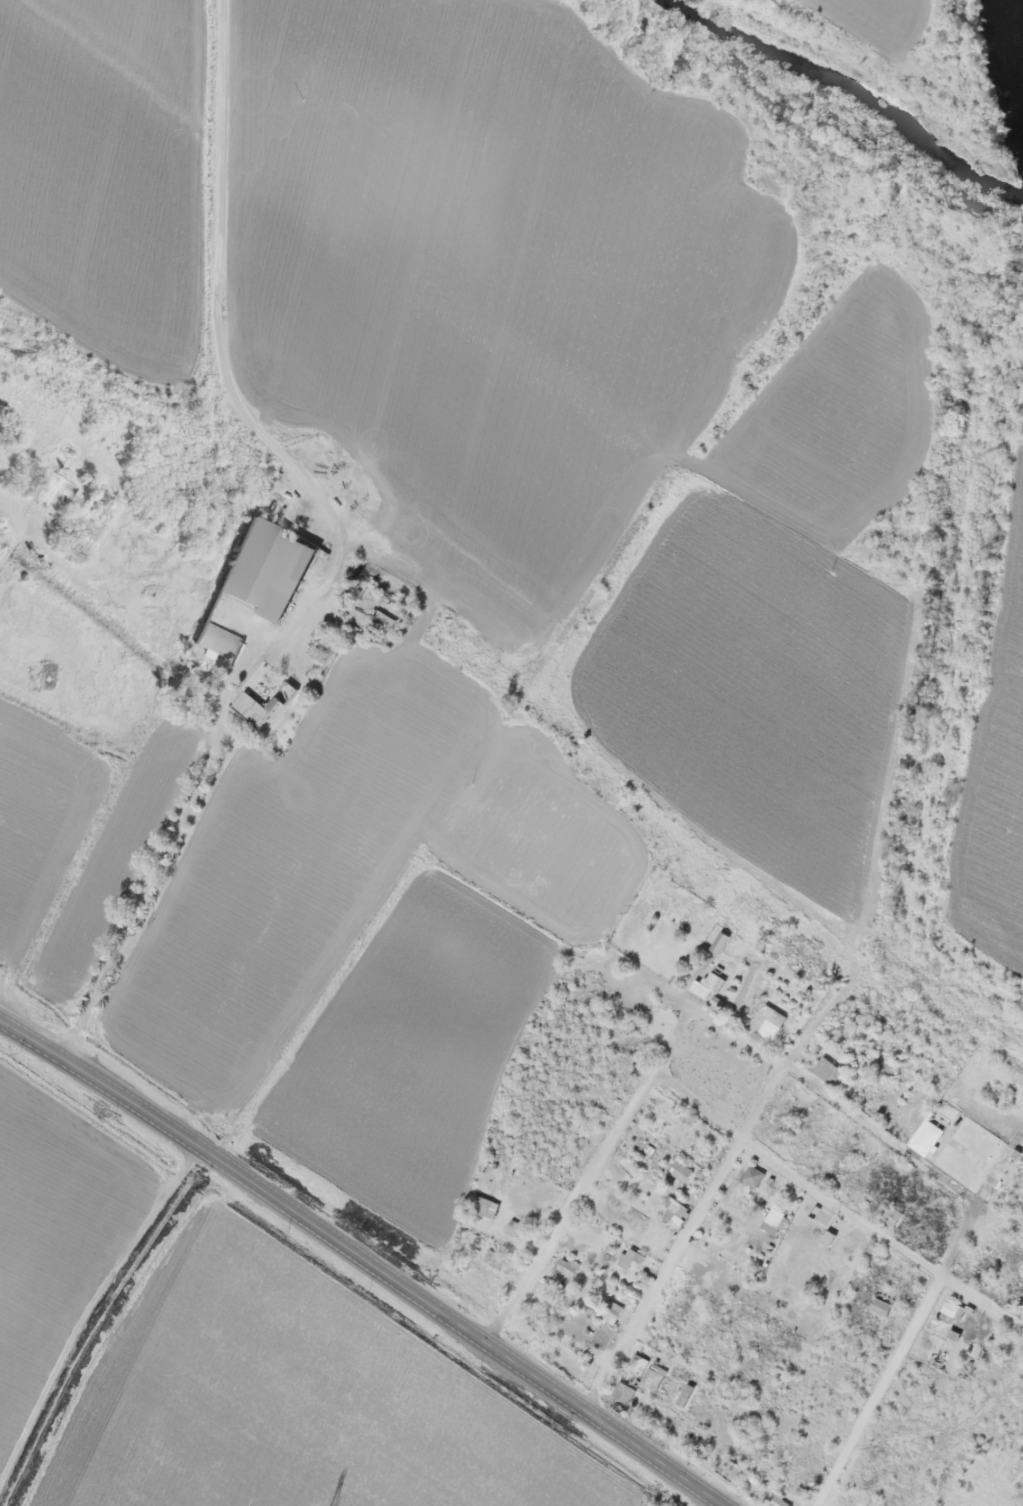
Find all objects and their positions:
building: (726, 938)
building: (711, 981)
road: (831, 1198)
road: (368, 1256)

